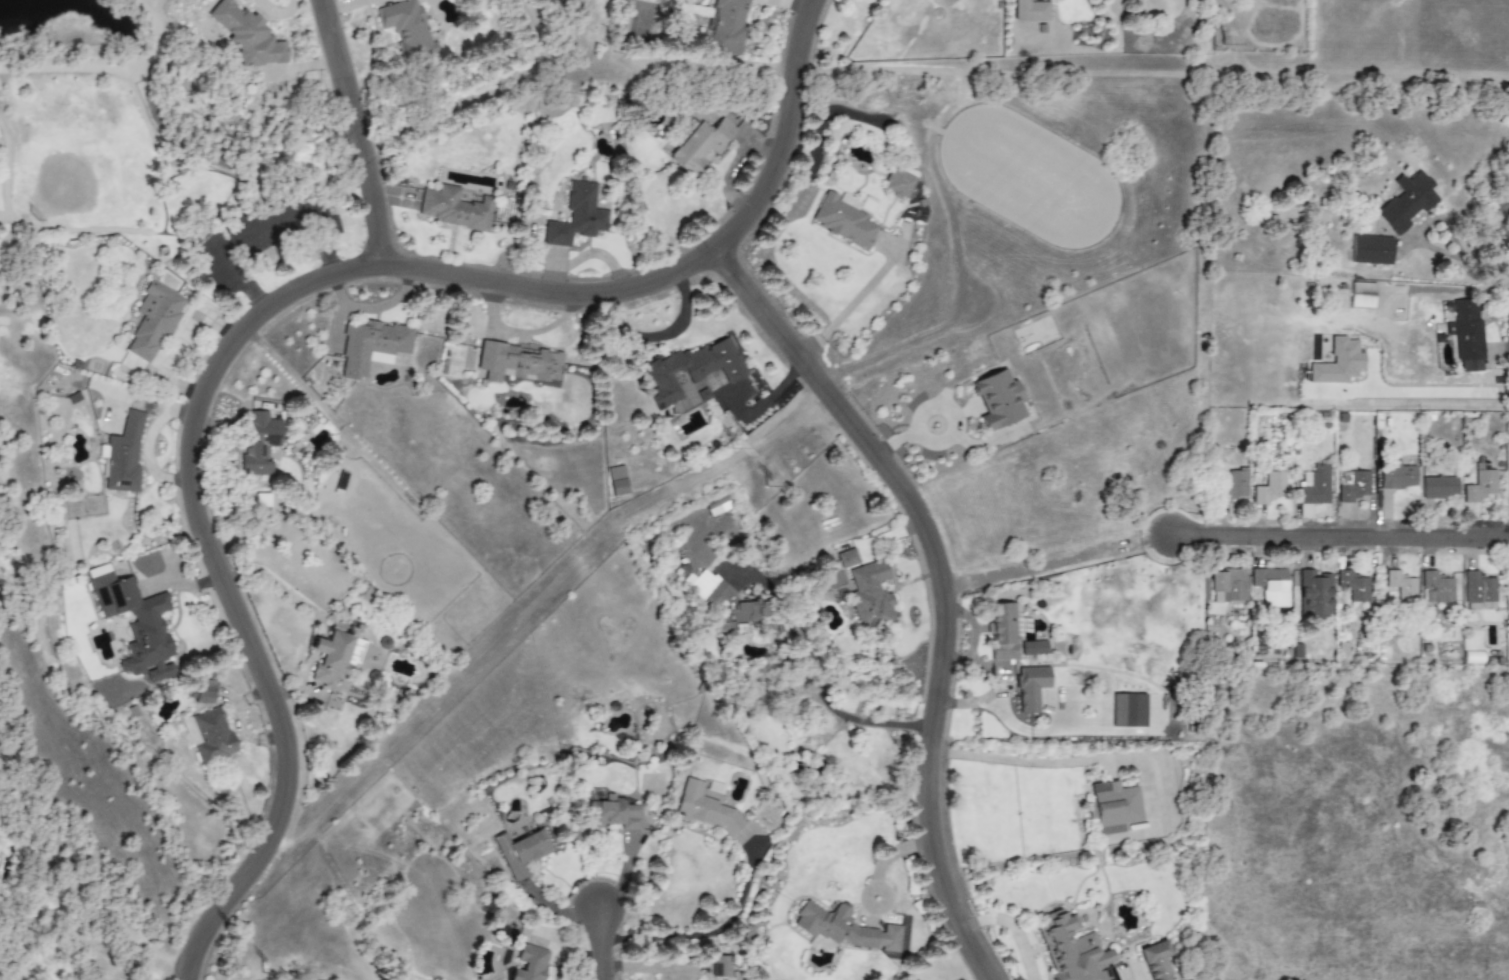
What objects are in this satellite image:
road: (149, 6)
building: (1029, 10)
building: (640, 24)
building: (727, 25)
building: (406, 27)
building: (247, 35)
road: (106, 71)
road: (358, 132)
building: (700, 146)
building: (898, 183)
building: (1407, 201)
building: (453, 208)
building: (579, 214)
building: (842, 219)
building: (1371, 249)
building: (1361, 294)
road: (850, 306)
road: (270, 307)
building: (153, 321)
building: (1466, 335)
building: (370, 346)
building: (518, 363)
building: (1337, 363)
building: (693, 369)
road: (1430, 391)
building: (703, 395)
building: (997, 399)
road: (761, 404)
road: (945, 440)
building: (260, 443)
building: (122, 456)
building: (1395, 475)
building: (616, 480)
building: (1233, 486)
building: (1353, 486)
building: (1439, 486)
building: (1480, 486)
building: (1269, 488)
building: (1312, 489)
road: (1332, 534)
building: (847, 558)
road: (943, 583)
building: (1227, 585)
building: (1353, 585)
building: (1272, 586)
building: (1402, 586)
building: (1438, 587)
building: (1478, 587)
building: (1314, 593)
building: (870, 595)
road: (1508, 600)
building: (729, 601)
building: (135, 623)
building: (723, 626)
building: (1001, 631)
building: (1033, 648)
building: (330, 657)
road: (811, 676)
building: (1031, 688)
building: (205, 692)
building: (1128, 711)
building: (209, 737)
road: (1011, 758)
building: (1114, 807)
building: (705, 809)
building: (613, 814)
building: (521, 852)
road: (891, 856)
road: (1011, 927)
building: (832, 928)
road: (711, 932)
road: (603, 943)
building: (1070, 950)
building: (1157, 962)
building: (530, 963)
building: (720, 966)

